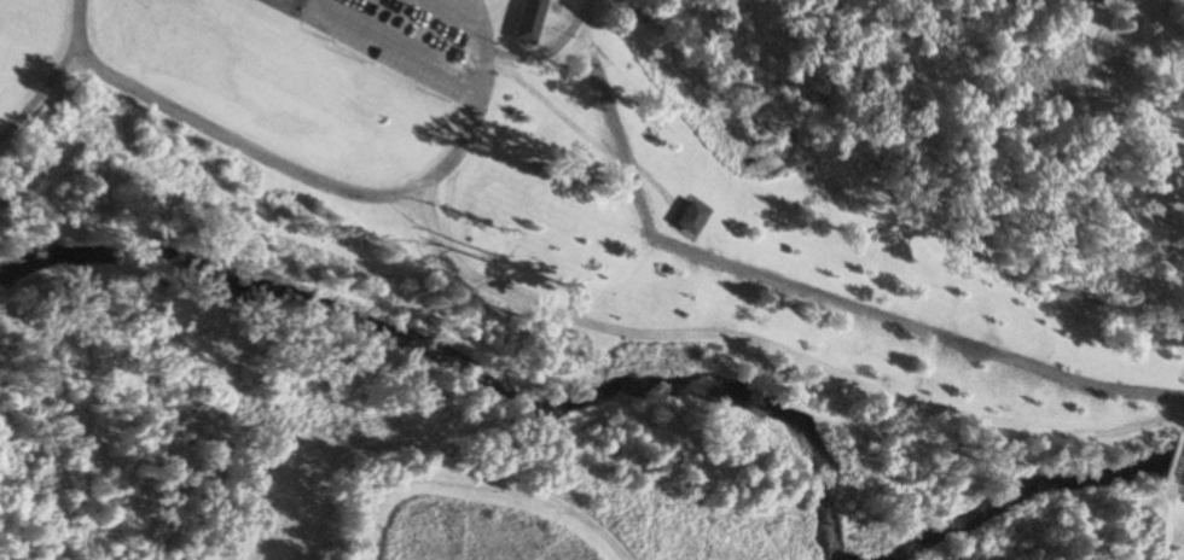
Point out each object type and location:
park: (289, 5)
building: (528, 21)
parking lot: (423, 40)
road: (405, 45)
road: (549, 48)
road: (36, 95)
road: (576, 130)
road: (310, 177)
building: (689, 217)
park: (551, 293)
road: (772, 349)
road: (1172, 455)
road: (470, 484)
road: (1163, 520)
road: (1177, 550)

